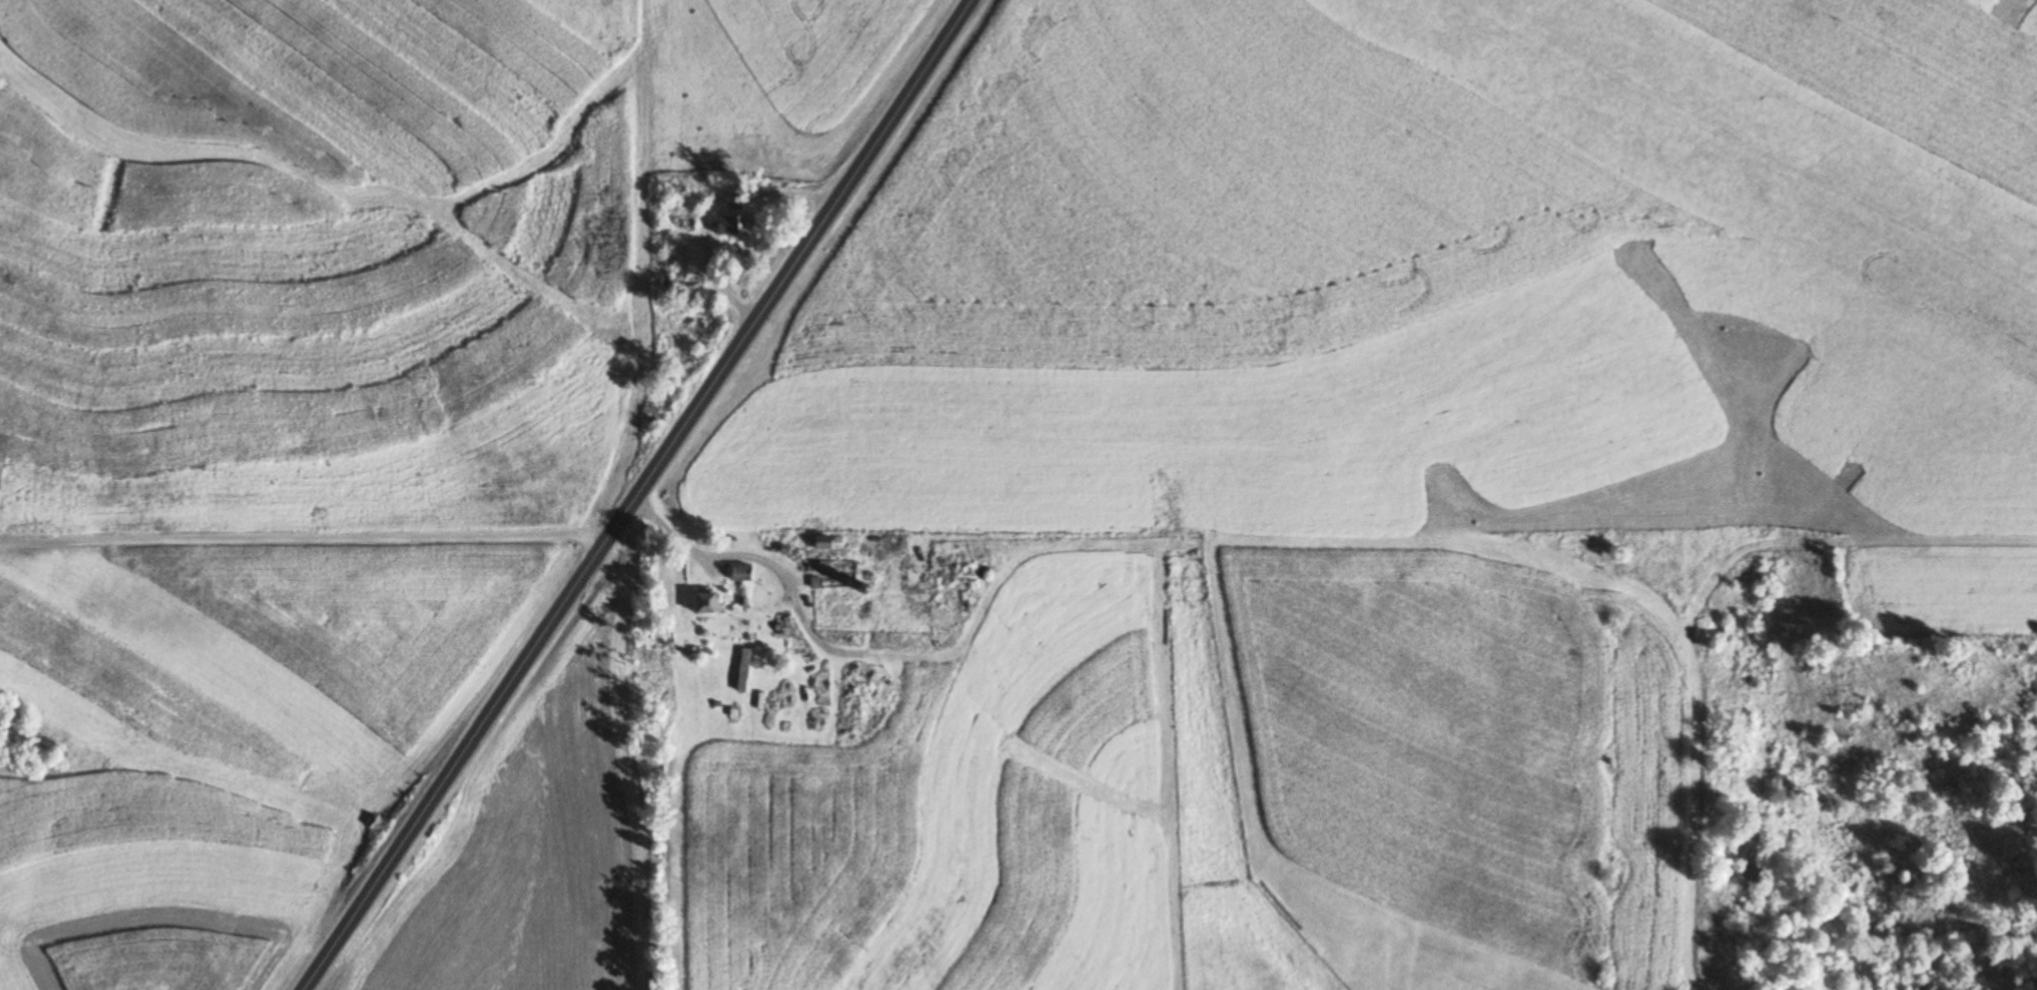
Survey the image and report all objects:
crop: (920, 12)
crop: (588, 22)
building: (595, 43)
crop: (1602, 188)
building: (727, 225)
crop: (303, 263)
building: (686, 293)
road: (634, 497)
road: (300, 549)
building: (957, 568)
building: (738, 572)
building: (831, 574)
road: (776, 581)
crop: (1942, 582)
building: (701, 603)
building: (667, 668)
crop: (210, 749)
crop: (1456, 764)
crop: (963, 815)
crop: (529, 843)

